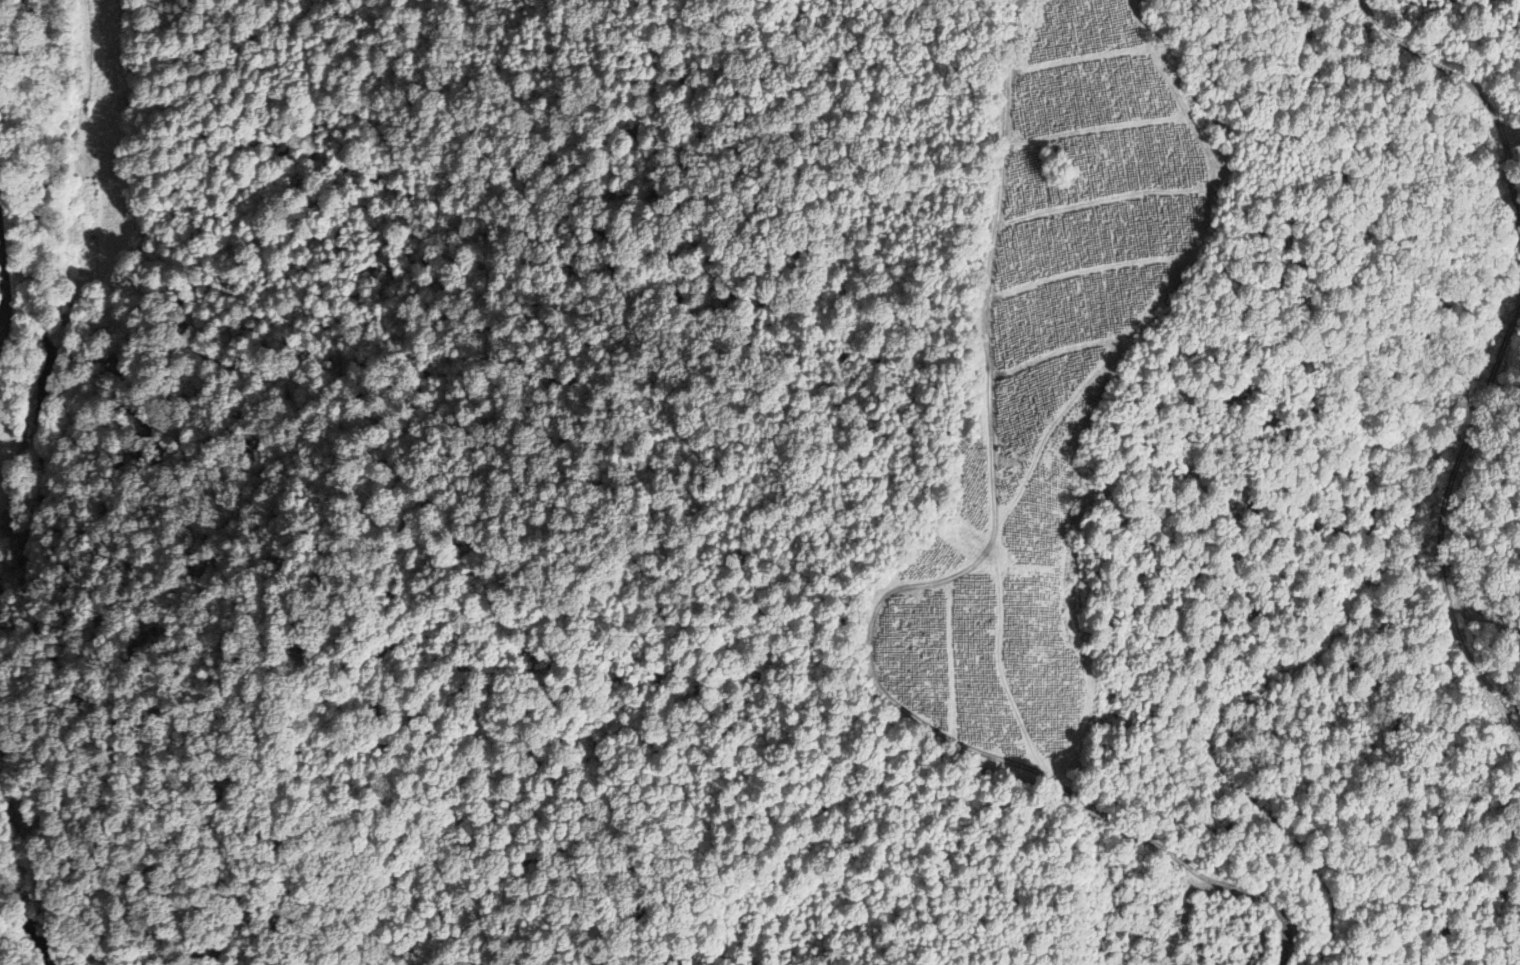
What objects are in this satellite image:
road: (3, 306)
road: (906, 587)
road: (1244, 691)

